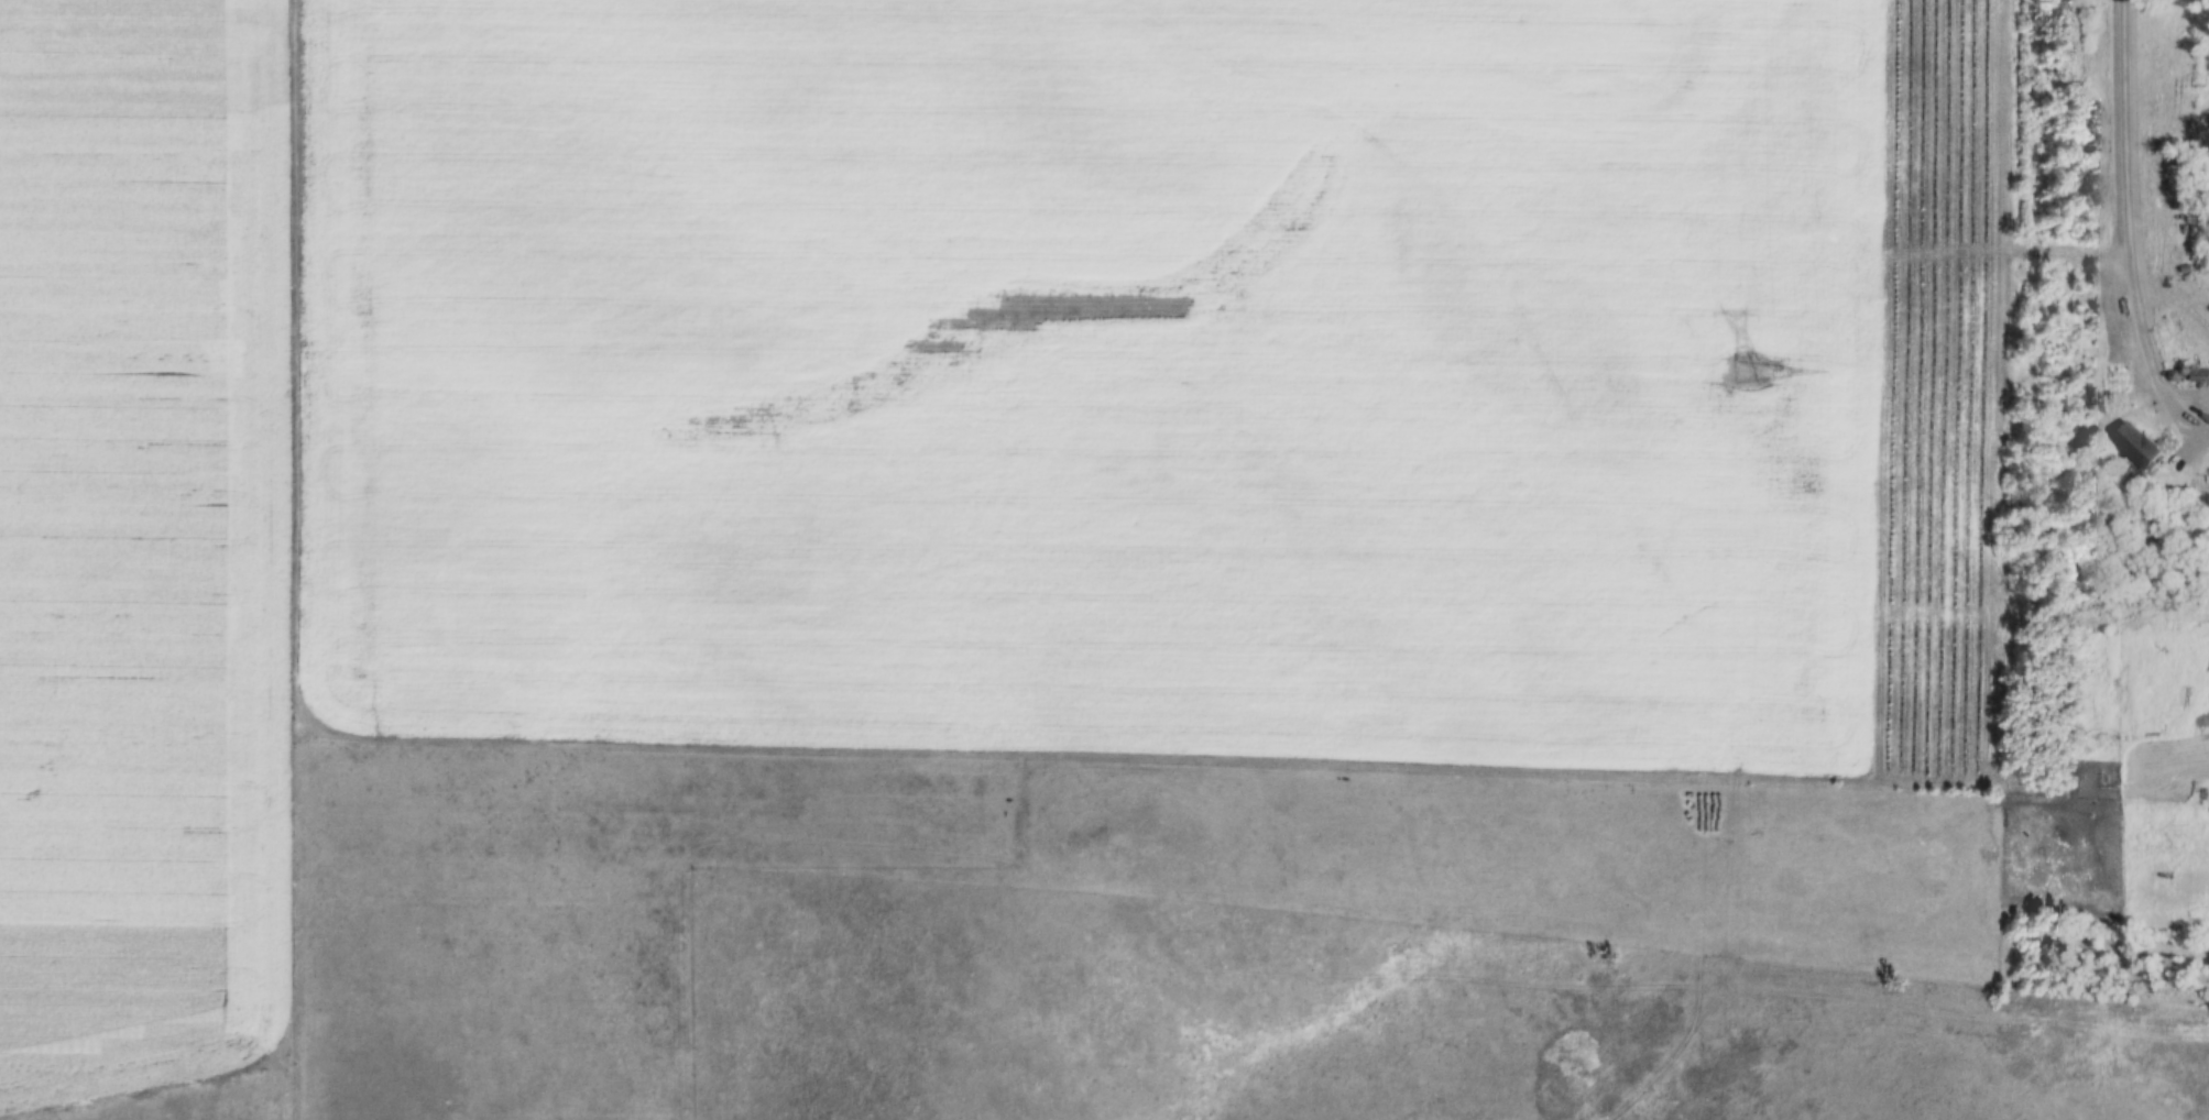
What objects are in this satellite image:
power tower: (1746, 373)
building: (2202, 375)
building: (2137, 446)

